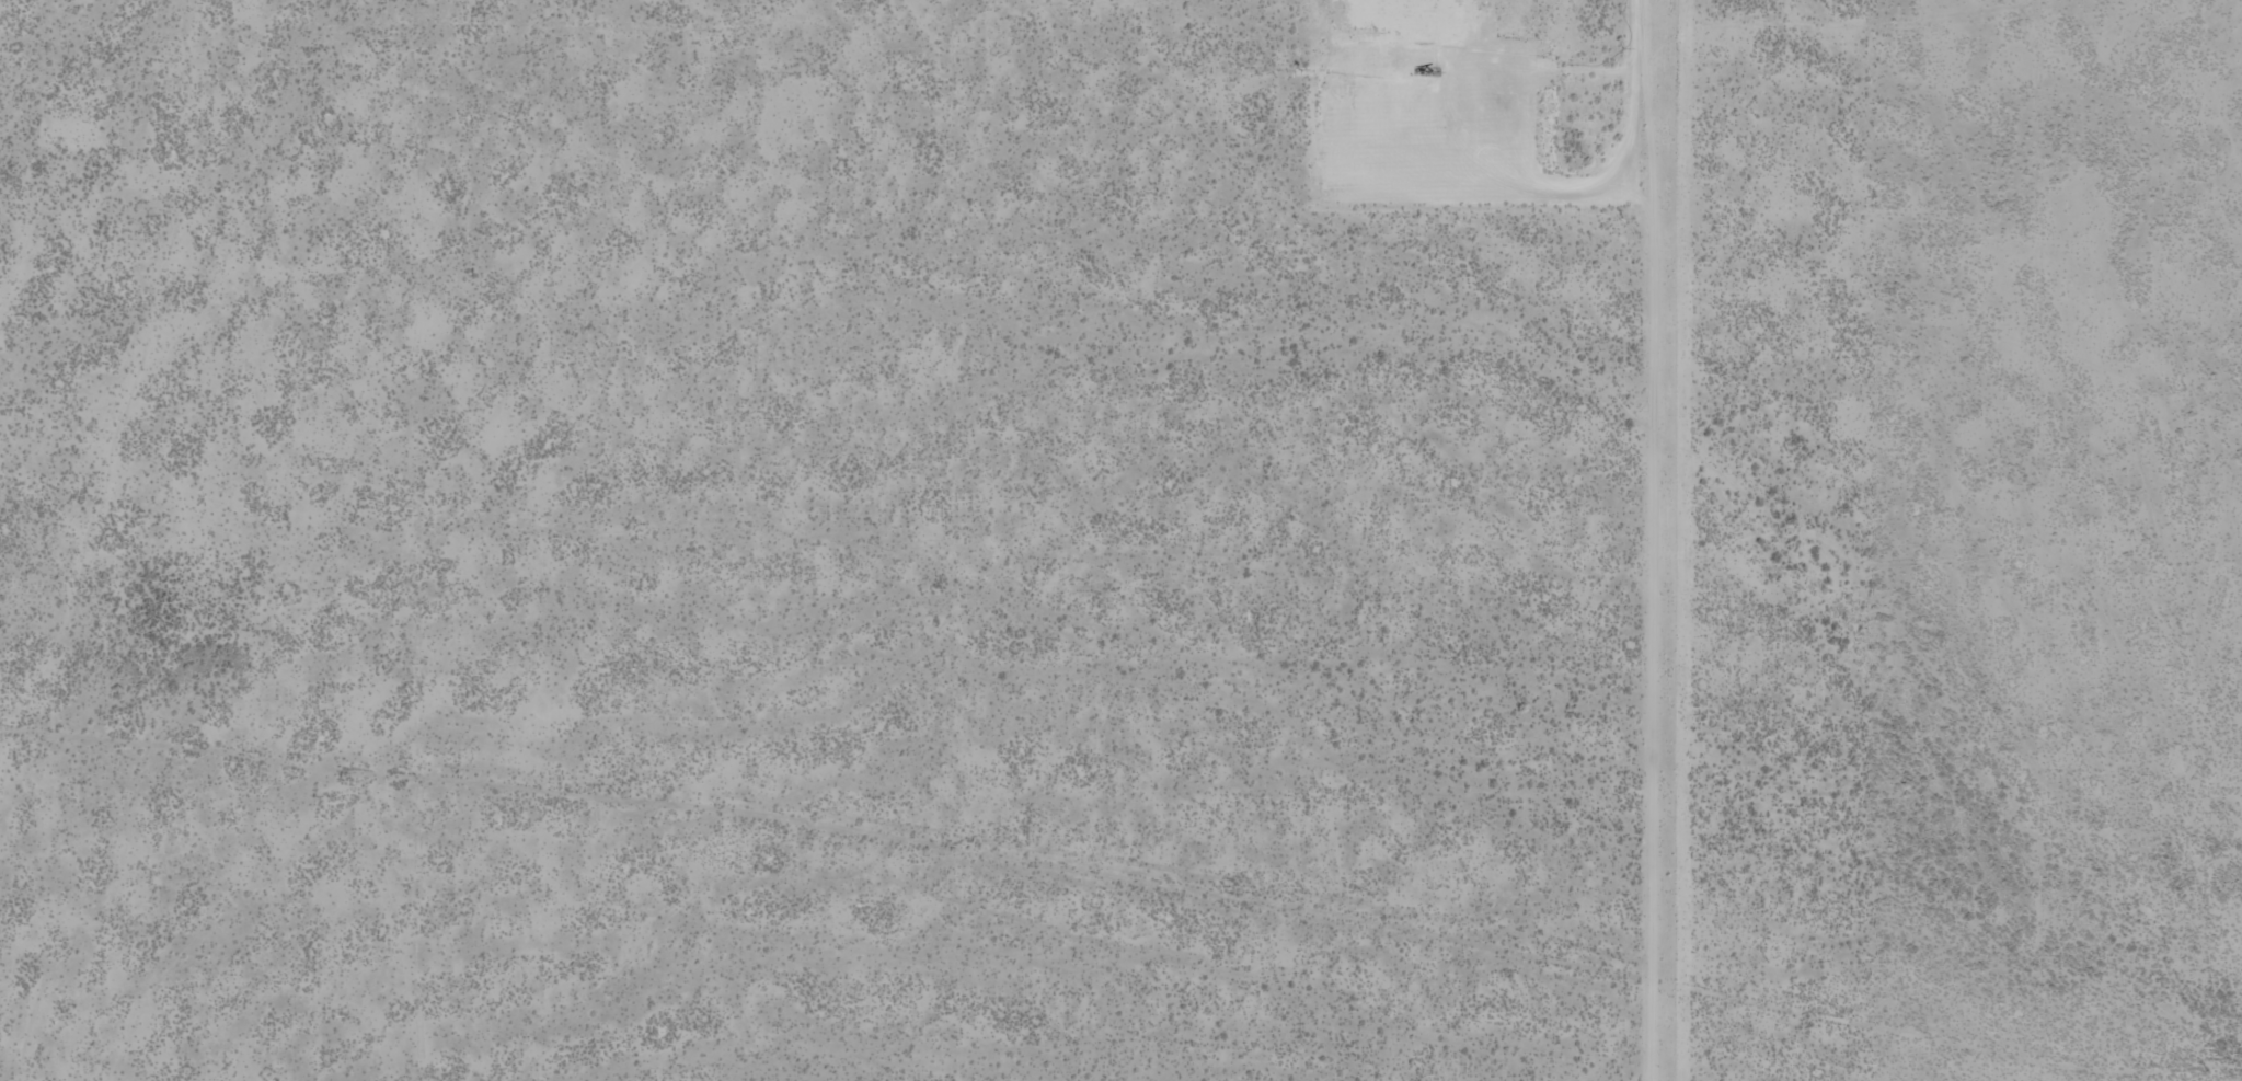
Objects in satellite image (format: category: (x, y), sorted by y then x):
road: (1126, 833)

